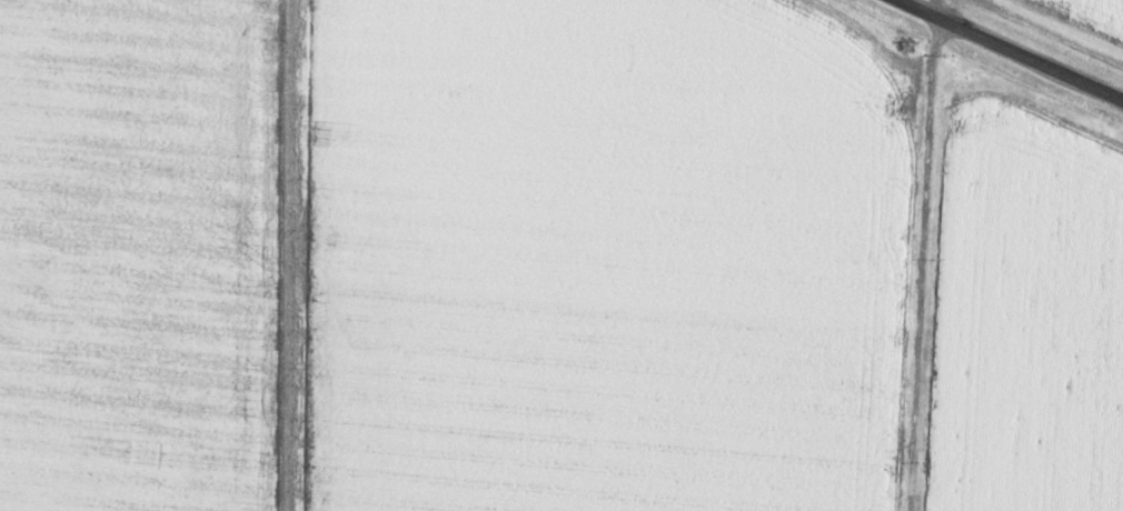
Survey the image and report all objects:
road: (1007, 51)
road: (918, 254)

